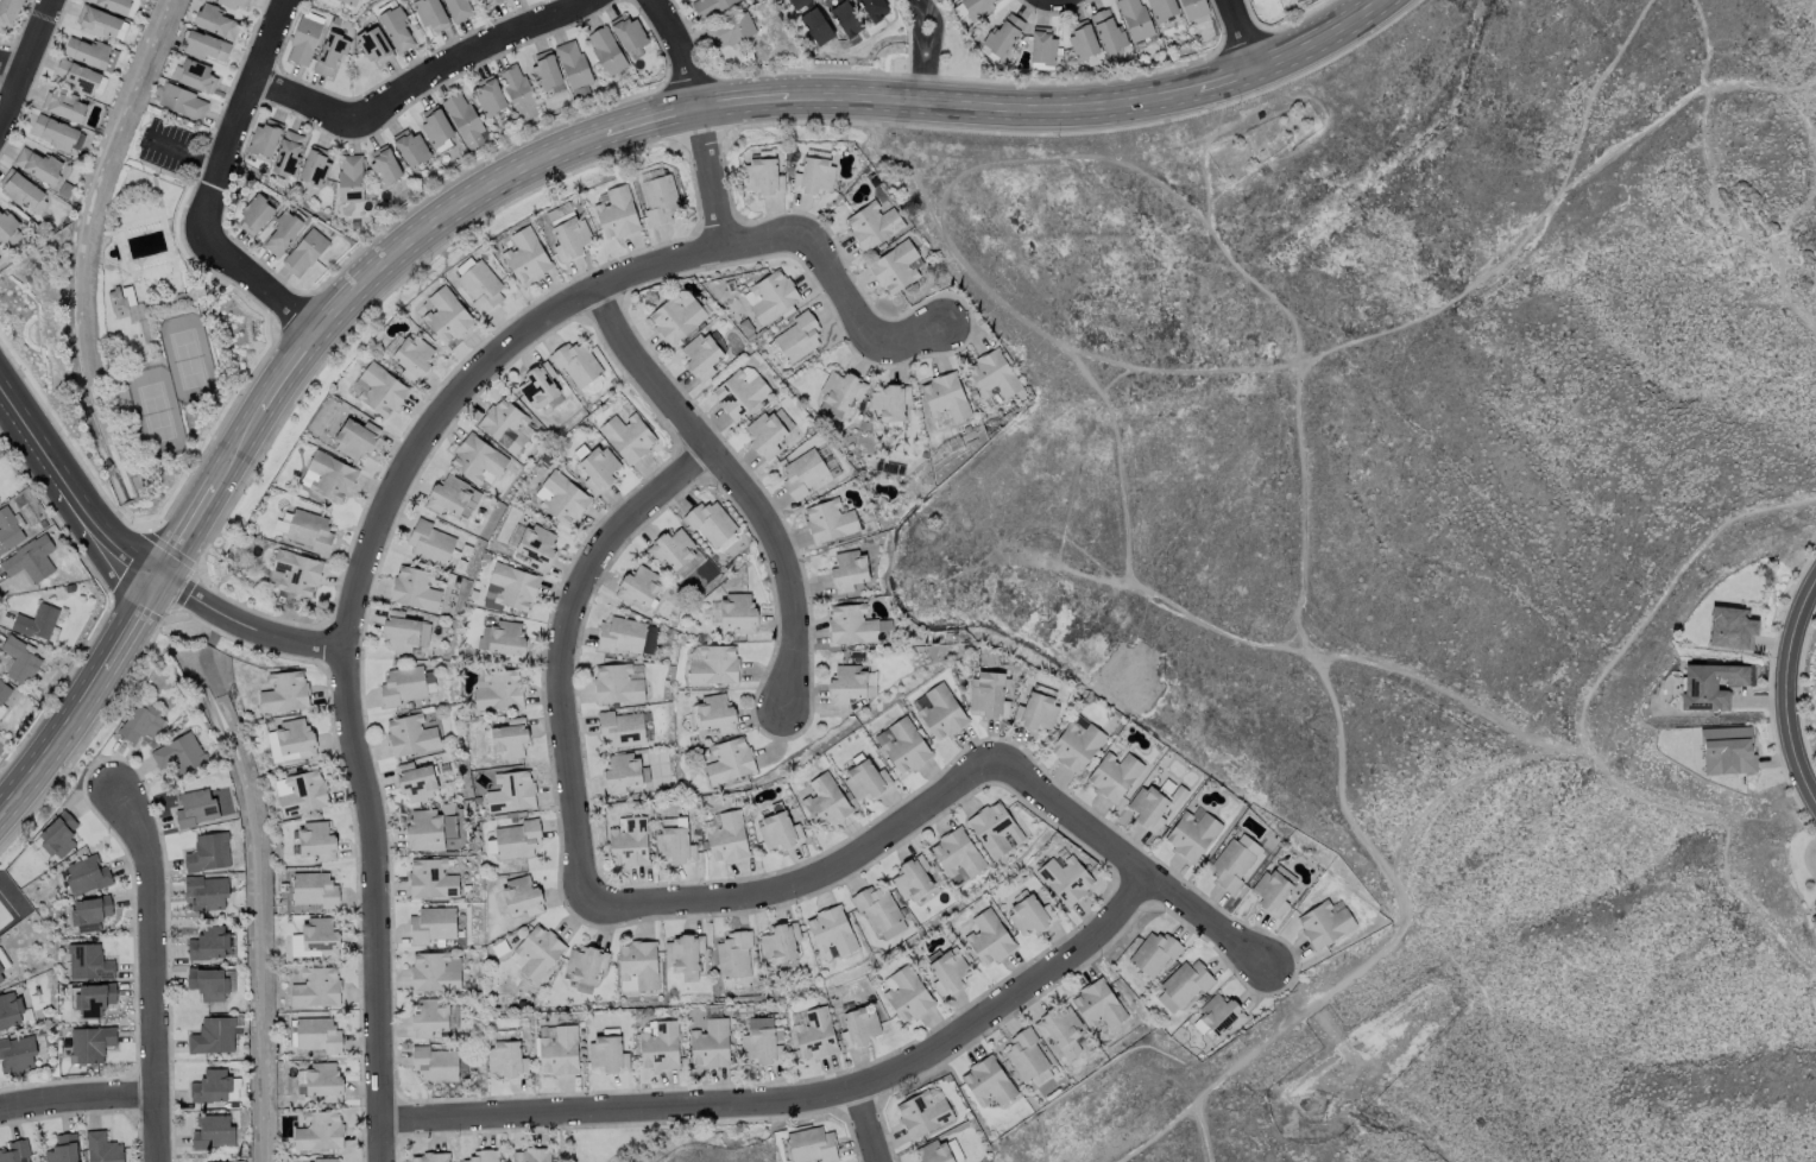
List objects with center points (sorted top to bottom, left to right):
building: (490, 1)
building: (233, 2)
building: (351, 2)
building: (796, 2)
building: (112, 4)
building: (707, 6)
building: (976, 6)
building: (1192, 7)
building: (456, 8)
building: (872, 8)
building: (1161, 8)
building: (8, 12)
building: (430, 13)
building: (845, 18)
building: (1134, 18)
building: (215, 20)
building: (97, 21)
building: (815, 25)
building: (396, 27)
building: (729, 30)
building: (1108, 31)
building: (628, 32)
road: (1238, 33)
building: (1001, 34)
building: (1082, 39)
building: (302, 40)
road: (923, 43)
road: (1704, 43)
building: (206, 45)
building: (374, 45)
building: (1041, 45)
road: (932, 48)
building: (605, 49)
road: (914, 50)
building: (86, 51)
building: (329, 51)
road: (26, 58)
building: (572, 63)
road: (10, 70)
building: (544, 70)
building: (76, 76)
building: (197, 76)
road: (416, 80)
building: (517, 90)
building: (487, 94)
building: (182, 101)
building: (63, 103)
building: (464, 119)
road: (696, 120)
building: (435, 125)
building: (55, 132)
building: (264, 138)
park: (1265, 145)
building: (409, 146)
building: (286, 152)
road: (543, 158)
building: (36, 163)
building: (383, 164)
building: (314, 165)
building: (762, 176)
building: (813, 176)
building: (349, 177)
road: (209, 188)
building: (20, 189)
building: (660, 198)
road: (1555, 202)
building: (616, 213)
building: (254, 214)
building: (871, 223)
building: (6, 225)
building: (280, 232)
building: (304, 251)
building: (524, 254)
building: (895, 266)
road: (831, 277)
building: (480, 285)
building: (769, 295)
building: (120, 297)
building: (444, 315)
building: (675, 317)
building: (797, 336)
building: (702, 354)
building: (411, 356)
building: (575, 362)
building: (991, 374)
building: (537, 385)
building: (379, 389)
building: (738, 391)
building: (839, 391)
building: (944, 396)
building: (889, 402)
building: (504, 424)
building: (767, 431)
building: (626, 435)
building: (354, 438)
road: (30, 456)
building: (475, 457)
building: (598, 467)
building: (802, 472)
road: (74, 474)
building: (328, 475)
road: (733, 480)
building: (560, 498)
building: (828, 519)
building: (282, 520)
building: (711, 523)
building: (309, 530)
building: (429, 542)
building: (535, 545)
building: (671, 548)
road: (96, 554)
building: (29, 558)
building: (847, 569)
building: (294, 571)
building: (637, 586)
building: (510, 587)
building: (414, 588)
road: (348, 611)
building: (737, 611)
building: (36, 621)
building: (855, 624)
road: (245, 627)
building: (1730, 627)
building: (398, 631)
building: (423, 633)
building: (626, 634)
building: (502, 639)
road: (1279, 643)
building: (19, 659)
building: (713, 664)
road: (1789, 680)
building: (428, 681)
building: (616, 683)
building: (847, 683)
building: (401, 684)
building: (1708, 684)
building: (498, 689)
building: (283, 691)
building: (2, 693)
building: (988, 694)
building: (939, 711)
building: (1035, 712)
building: (714, 713)
building: (140, 721)
building: (619, 727)
building: (410, 734)
road: (1583, 734)
building: (294, 737)
building: (509, 737)
building: (902, 744)
building: (1074, 744)
building: (1726, 750)
building: (178, 753)
building: (729, 759)
building: (622, 771)
building: (1112, 773)
building: (865, 778)
building: (415, 781)
building: (302, 791)
building: (510, 791)
building: (824, 801)
building: (1154, 806)
building: (195, 807)
building: (428, 828)
building: (994, 828)
building: (777, 831)
building: (1191, 832)
building: (57, 834)
building: (726, 836)
building: (516, 839)
building: (316, 840)
building: (628, 841)
building: (674, 845)
building: (207, 852)
building: (956, 854)
road: (1125, 860)
building: (1232, 861)
road: (579, 872)
building: (86, 873)
building: (912, 877)
building: (430, 878)
building: (1065, 878)
building: (313, 889)
building: (1273, 889)
building: (206, 891)
building: (519, 895)
building: (1814, 904)
building: (876, 907)
building: (90, 908)
building: (1029, 914)
building: (1814, 921)
building: (1323, 923)
building: (430, 924)
building: (87, 926)
building: (893, 928)
building: (831, 929)
building: (320, 935)
building: (988, 937)
building: (780, 941)
building: (207, 942)
building: (535, 951)
building: (733, 953)
building: (1153, 953)
building: (682, 954)
building: (2, 960)
building: (88, 961)
building: (637, 962)
road: (150, 965)
building: (584, 966)
building: (434, 971)
building: (947, 971)
building: (0, 978)
building: (1186, 981)
building: (207, 983)
building: (315, 986)
building: (904, 992)
building: (93, 998)
building: (1166, 1002)
building: (1097, 1004)
building: (10, 1009)
building: (1219, 1012)
building: (428, 1018)
road: (1489, 1019)
building: (858, 1025)
building: (1060, 1029)
building: (813, 1031)
building: (316, 1034)
building: (213, 1035)
building: (761, 1041)
building: (89, 1042)
building: (708, 1043)
building: (658, 1044)
building: (556, 1049)
building: (17, 1053)
building: (607, 1053)
building: (1024, 1054)
building: (505, 1057)
building: (434, 1063)
building: (1040, 1076)
building: (322, 1081)
building: (986, 1081)
building: (209, 1085)
road: (75, 1098)
road: (799, 1099)
building: (921, 1113)
road: (864, 1125)
building: (319, 1130)
building: (212, 1131)
road: (1197, 1133)
building: (811, 1144)
building: (102, 1148)
building: (62, 1149)
building: (14, 1151)
building: (938, 1151)
building: (483, 1155)
building: (530, 1155)
building: (429, 1157)
building: (321, 1160)
building: (220, 1161)

